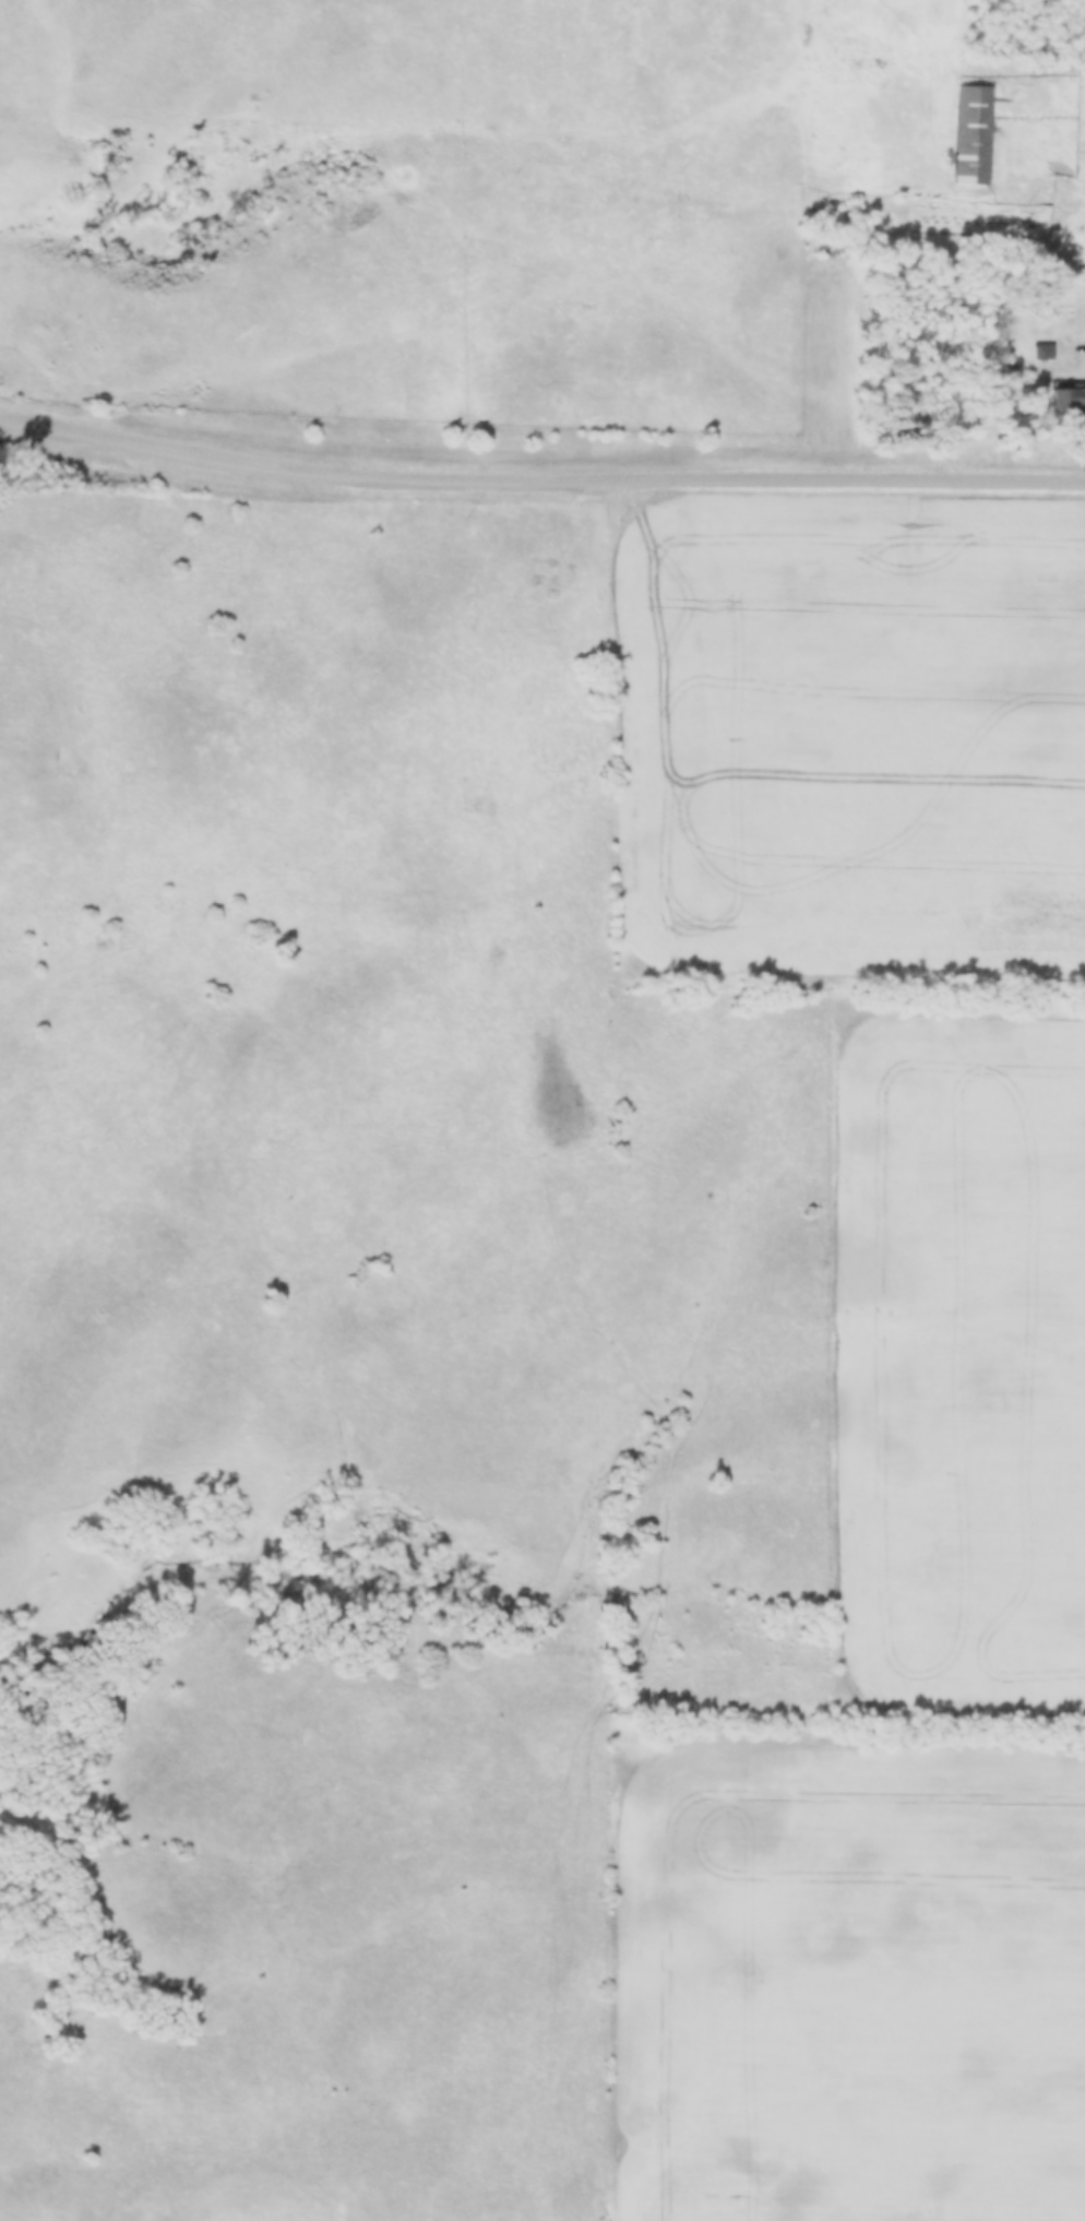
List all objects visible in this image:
building: (970, 135)
building: (1041, 352)
building: (1068, 399)
road: (540, 488)

